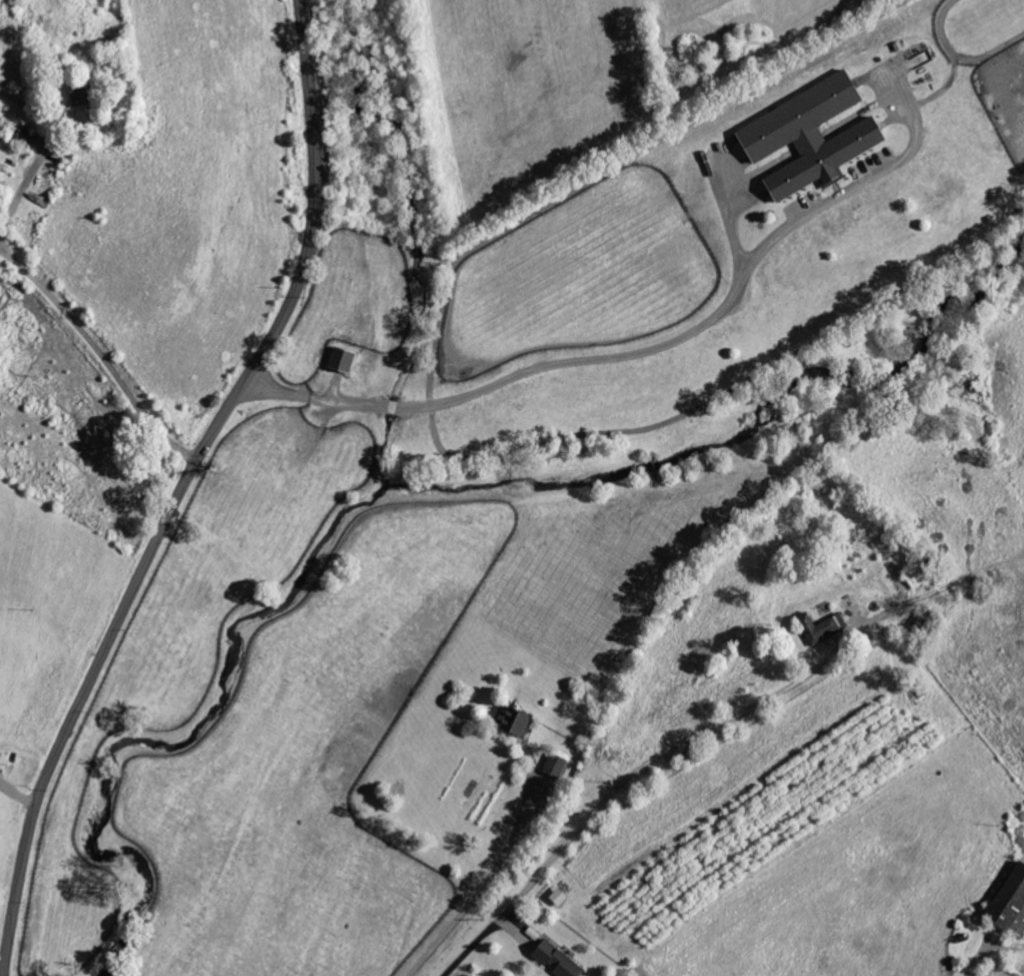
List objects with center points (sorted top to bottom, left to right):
building: (27, 135)
building: (815, 136)
road: (40, 286)
building: (346, 361)
road: (592, 362)
road: (313, 399)
road: (390, 410)
road: (183, 489)
building: (920, 574)
building: (824, 627)
building: (518, 719)
road: (707, 726)
building: (558, 765)
road: (483, 884)
road: (986, 945)
building: (560, 960)

